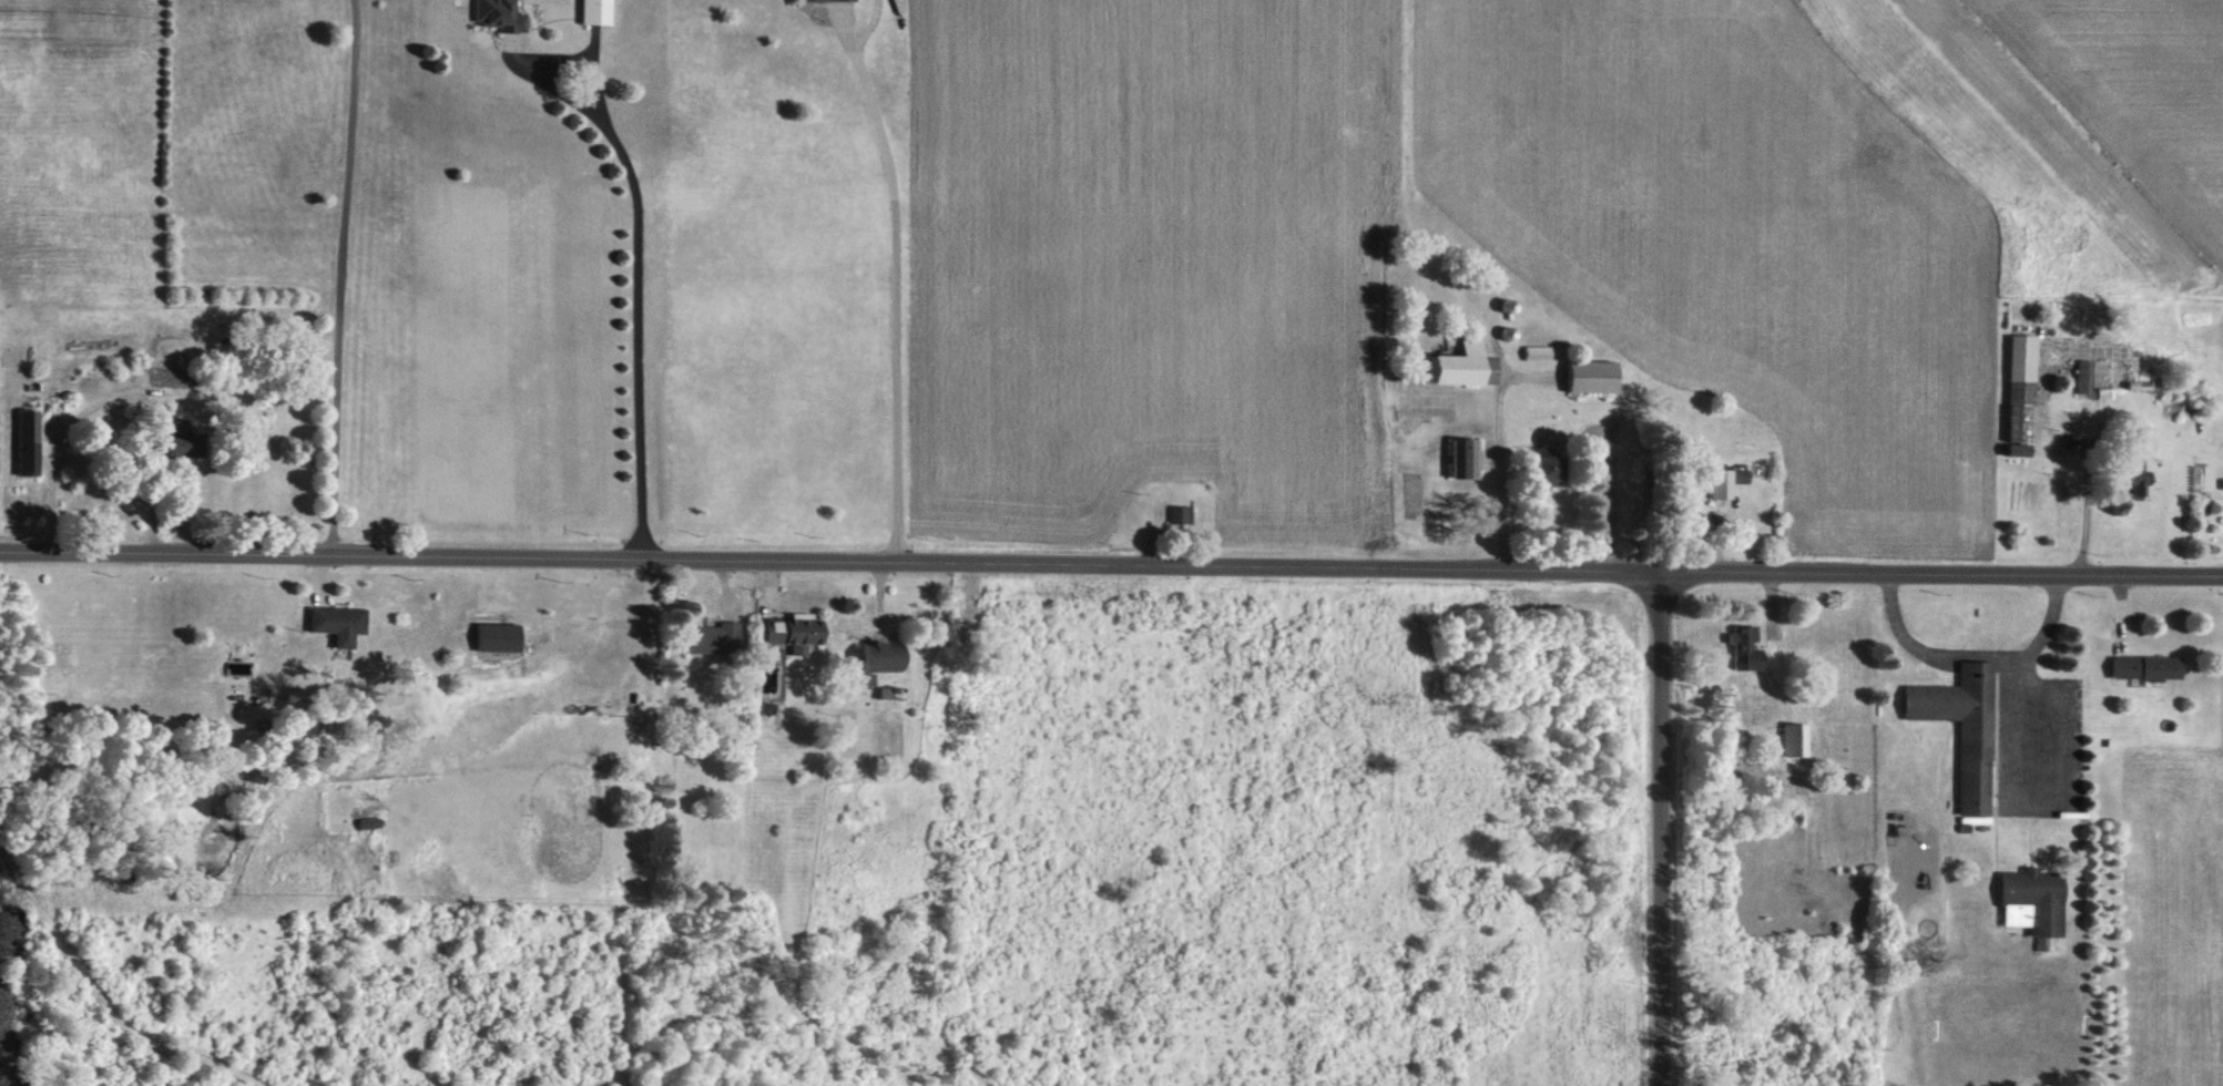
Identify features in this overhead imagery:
building: (830, 0)
building: (593, 11)
building: (496, 14)
road: (341, 276)
road: (640, 285)
road: (895, 286)
building: (1456, 363)
building: (1588, 376)
building: (2082, 376)
building: (2018, 392)
road: (114, 395)
building: (23, 441)
building: (167, 443)
building: (1461, 458)
road: (1498, 465)
building: (1541, 470)
building: (2132, 475)
building: (1724, 480)
road: (1618, 494)
road: (2086, 508)
building: (1180, 514)
road: (1111, 563)
building: (332, 623)
building: (787, 633)
building: (492, 637)
building: (707, 638)
building: (1742, 645)
road: (1975, 653)
building: (878, 656)
building: (2143, 667)
building: (1962, 728)
building: (1796, 739)
road: (1666, 828)
building: (2031, 901)

